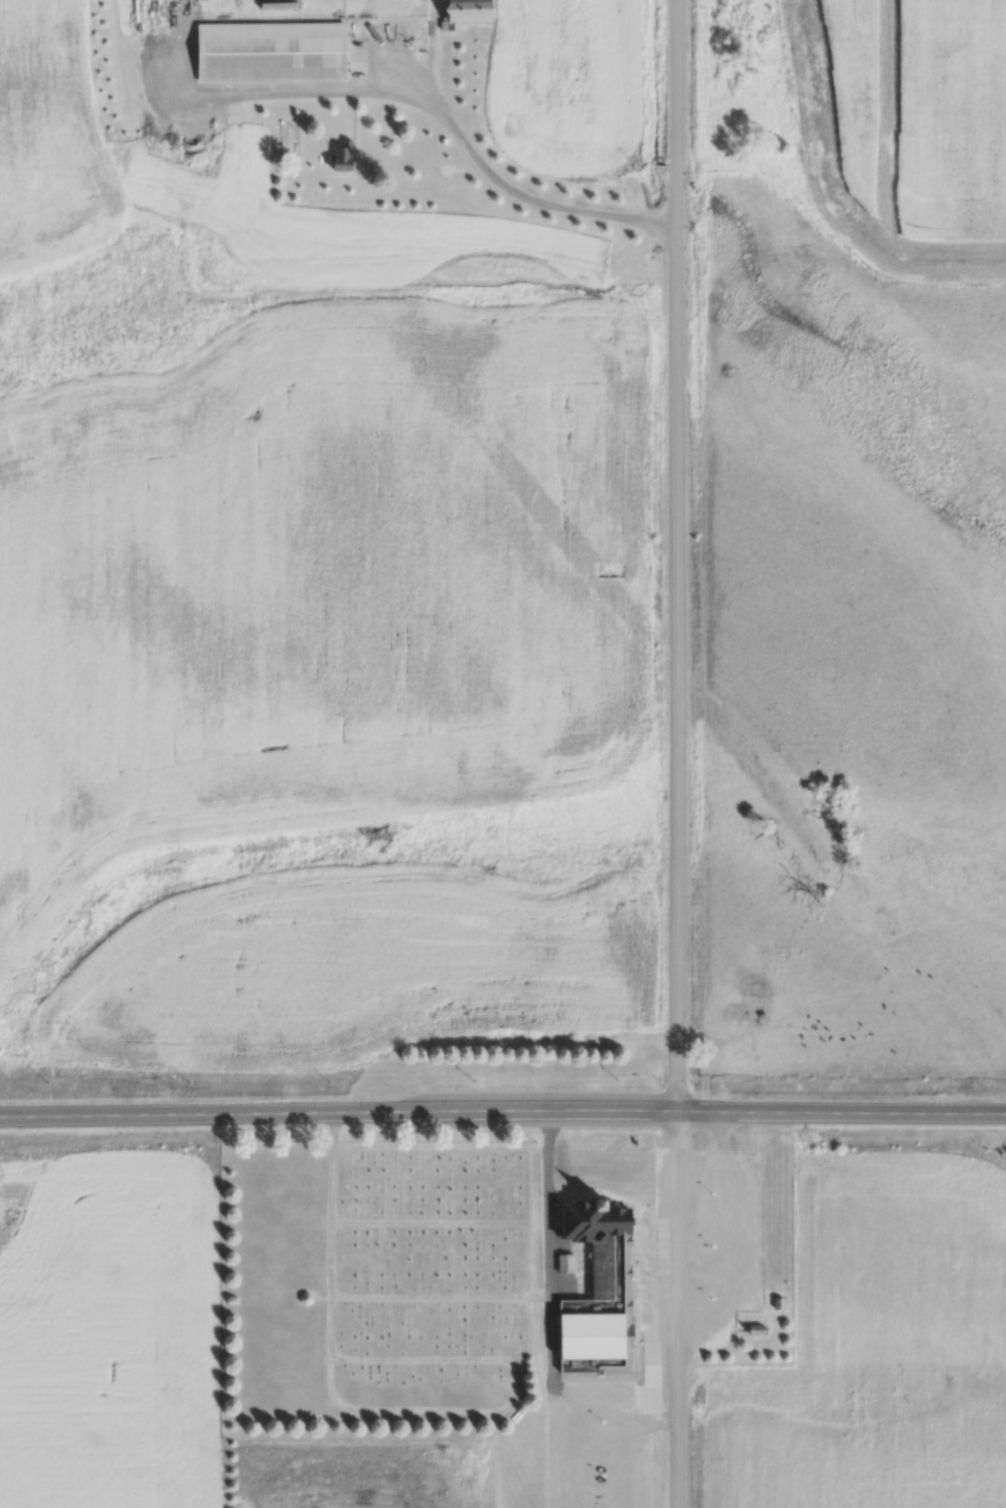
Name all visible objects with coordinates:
building: (212, 4)
building: (472, 13)
building: (392, 33)
building: (275, 52)
road: (435, 102)
building: (343, 156)
road: (681, 753)
road: (502, 1111)
building: (585, 1319)

